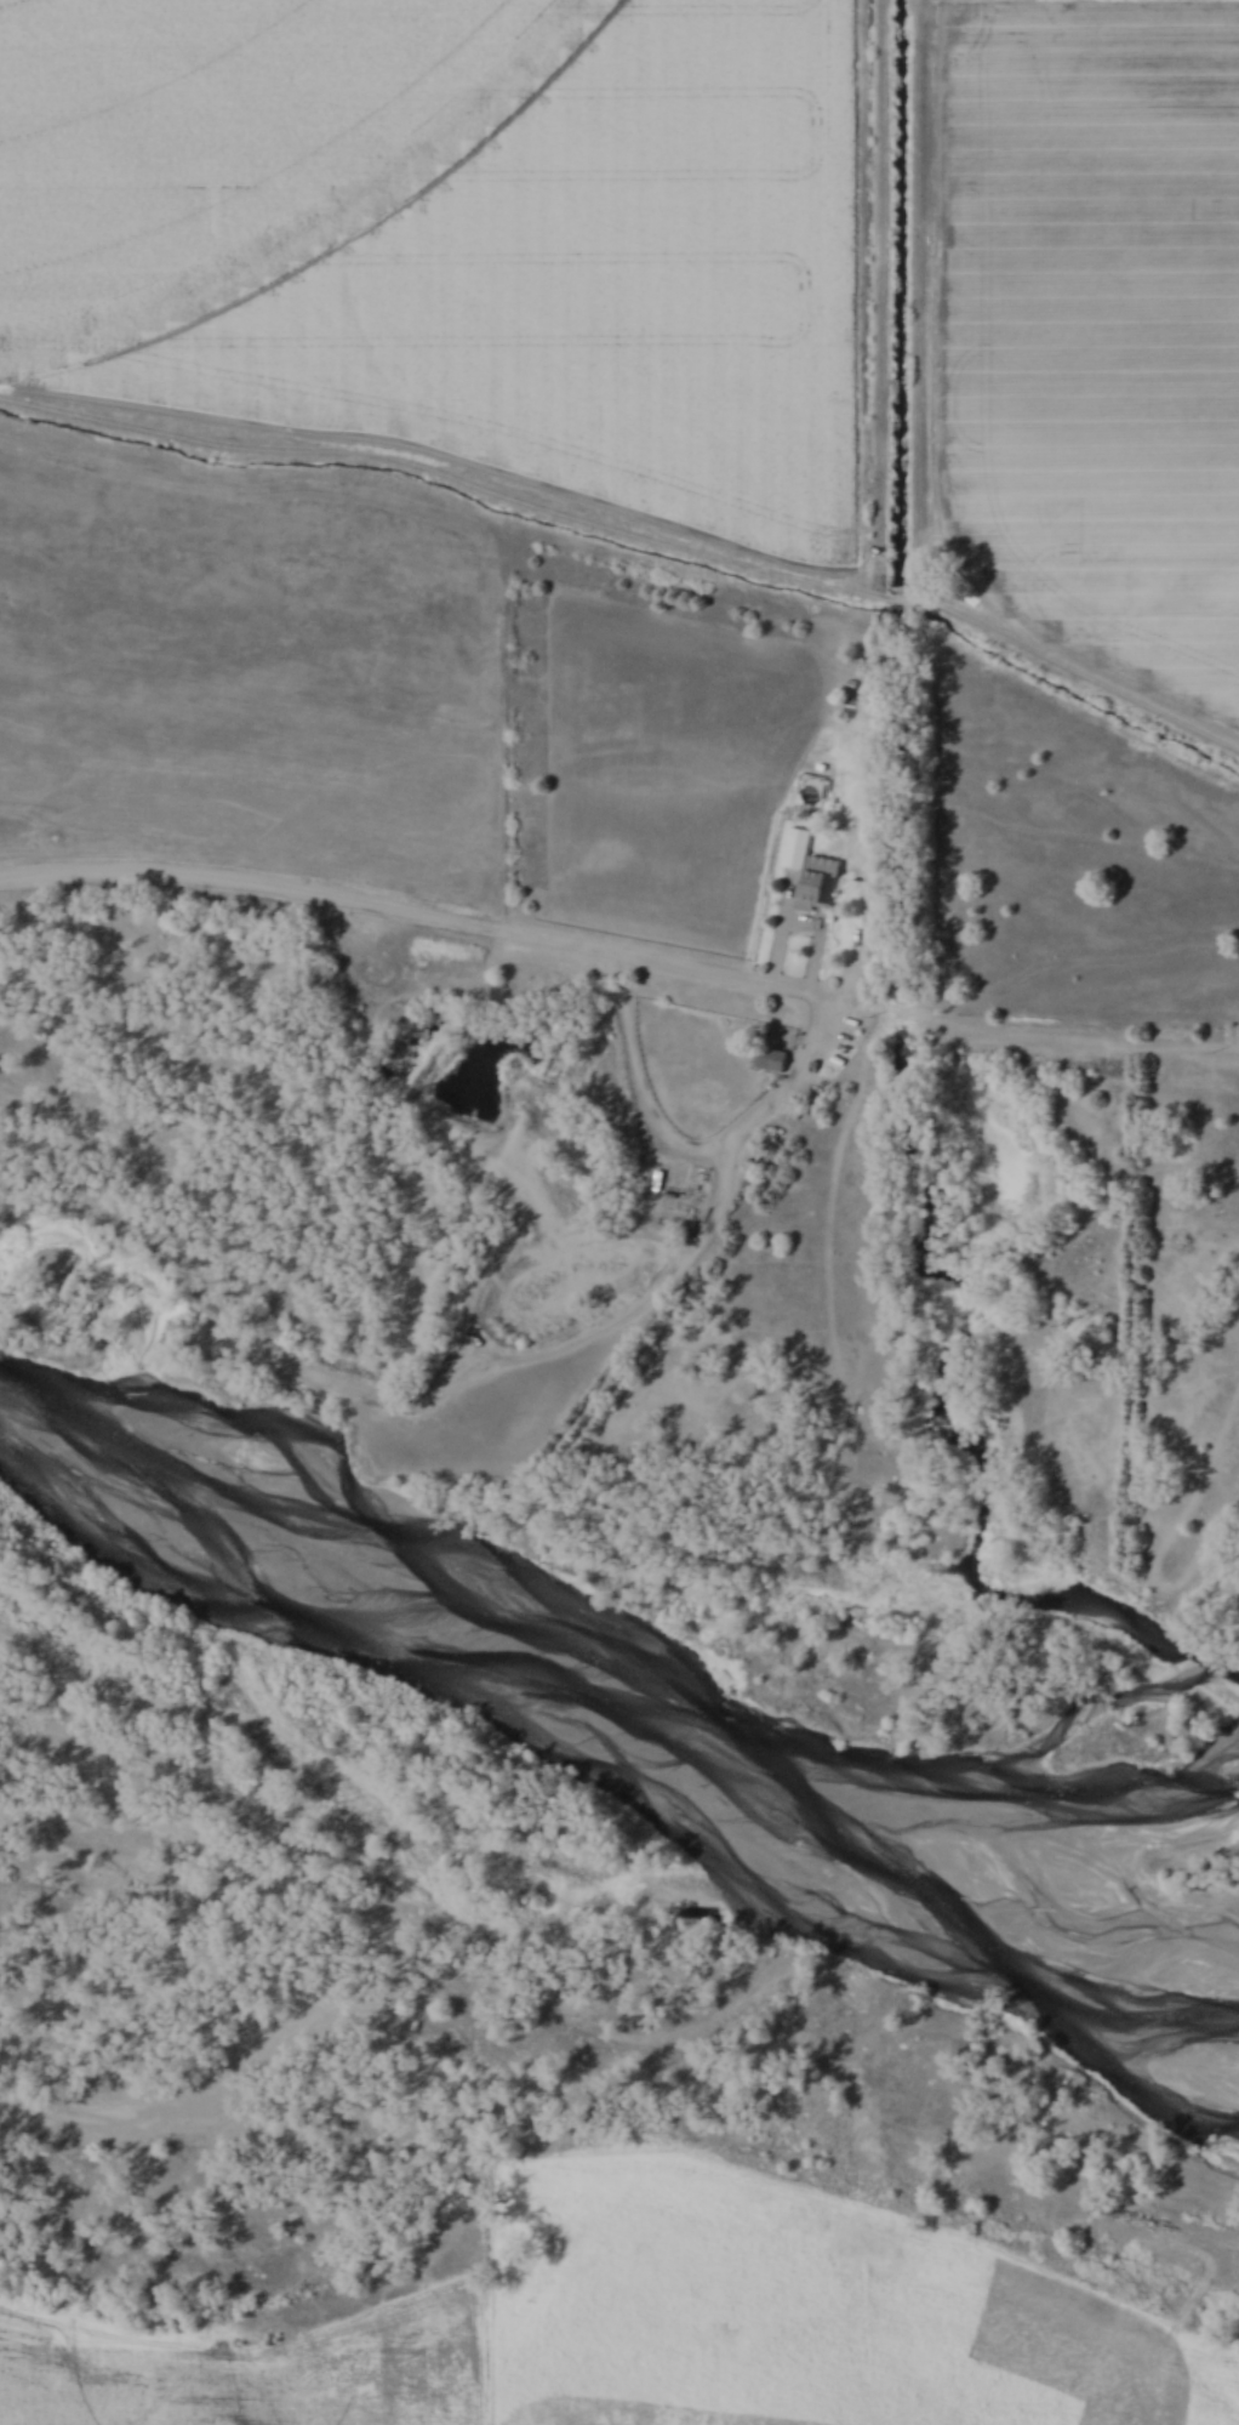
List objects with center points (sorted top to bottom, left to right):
crop: (462, 224)
crop: (1101, 307)
building: (844, 661)
building: (810, 872)
road: (418, 907)
building: (769, 1059)
road: (784, 1078)
river: (626, 1714)

